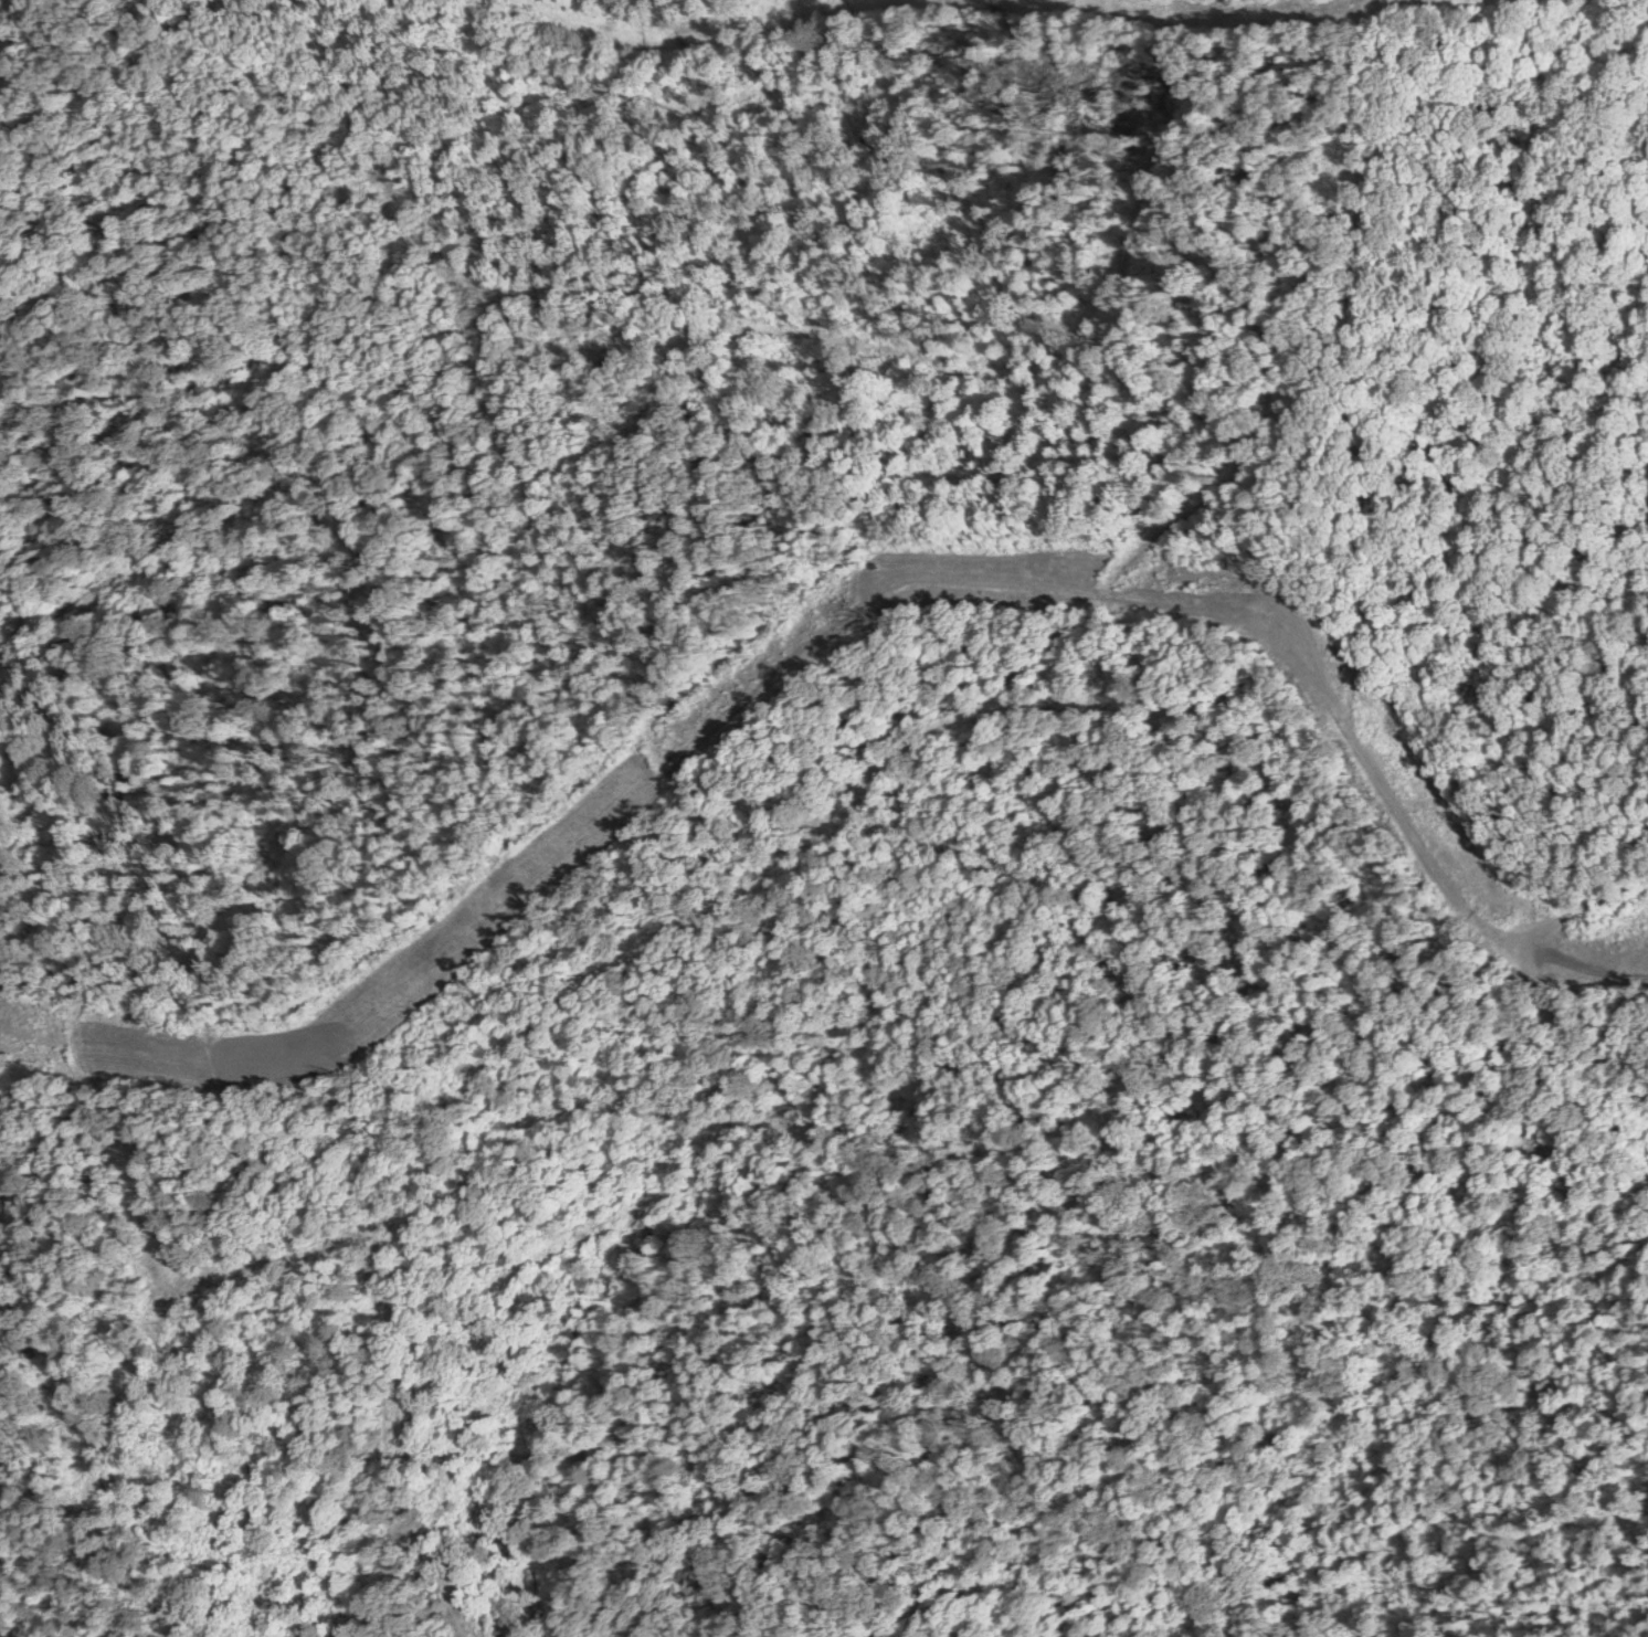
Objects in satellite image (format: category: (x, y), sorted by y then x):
road: (1510, 1035)

